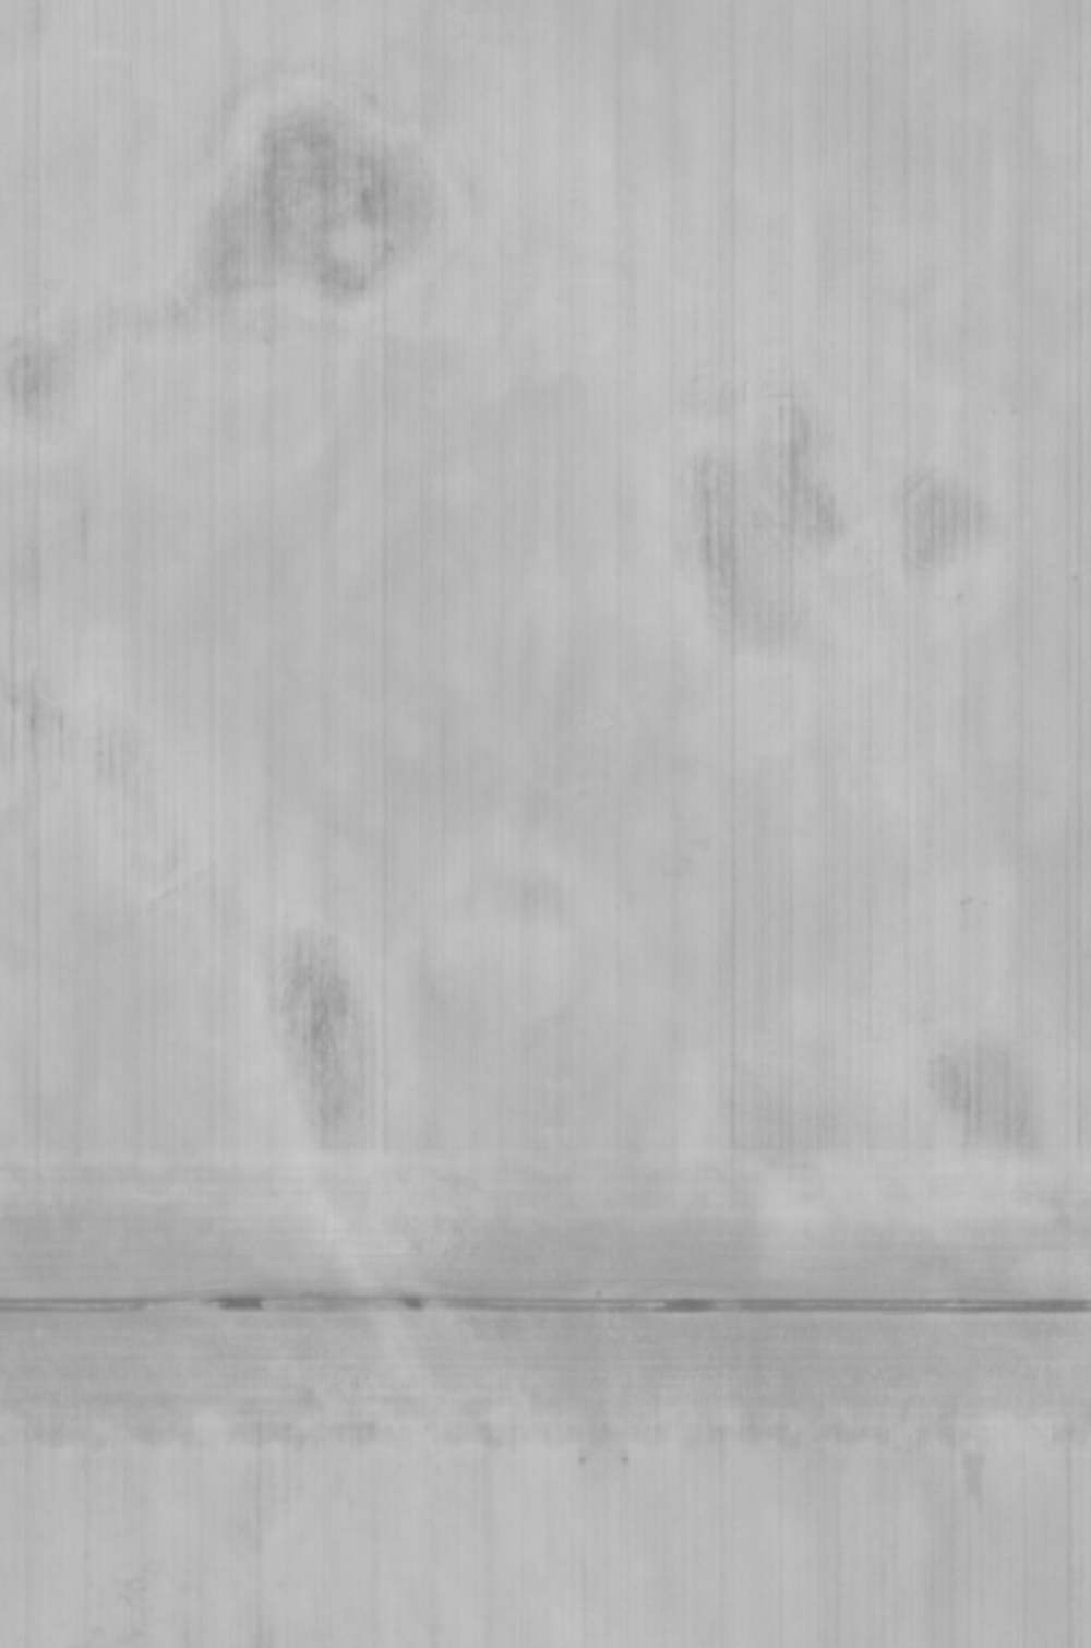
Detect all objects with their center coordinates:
road: (544, 1309)

